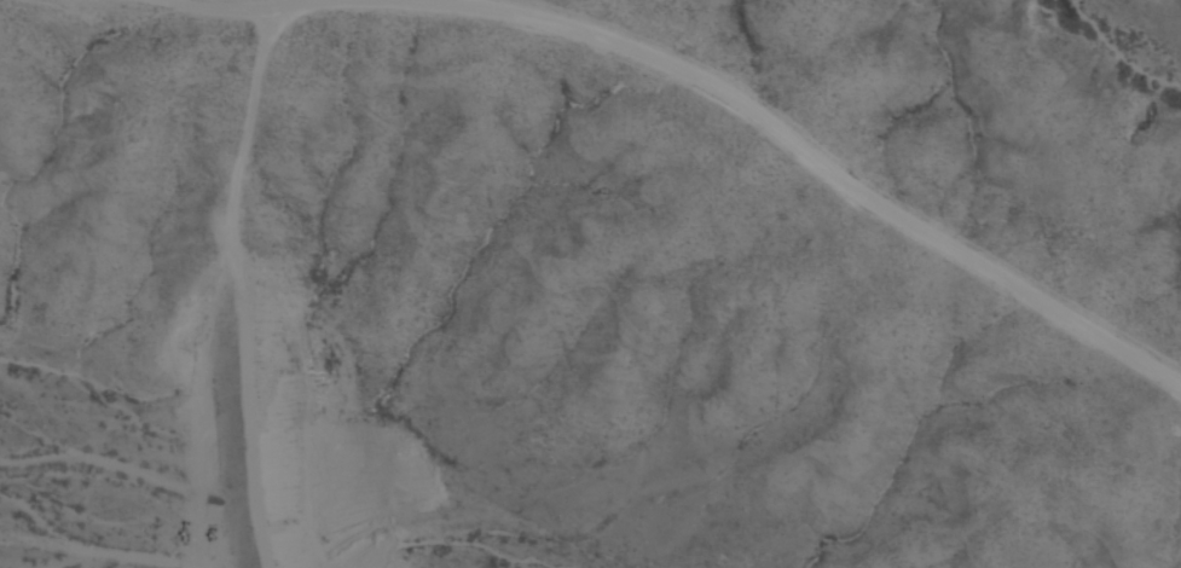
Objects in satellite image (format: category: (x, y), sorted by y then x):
road: (238, 7)
road: (803, 147)
road: (241, 289)

